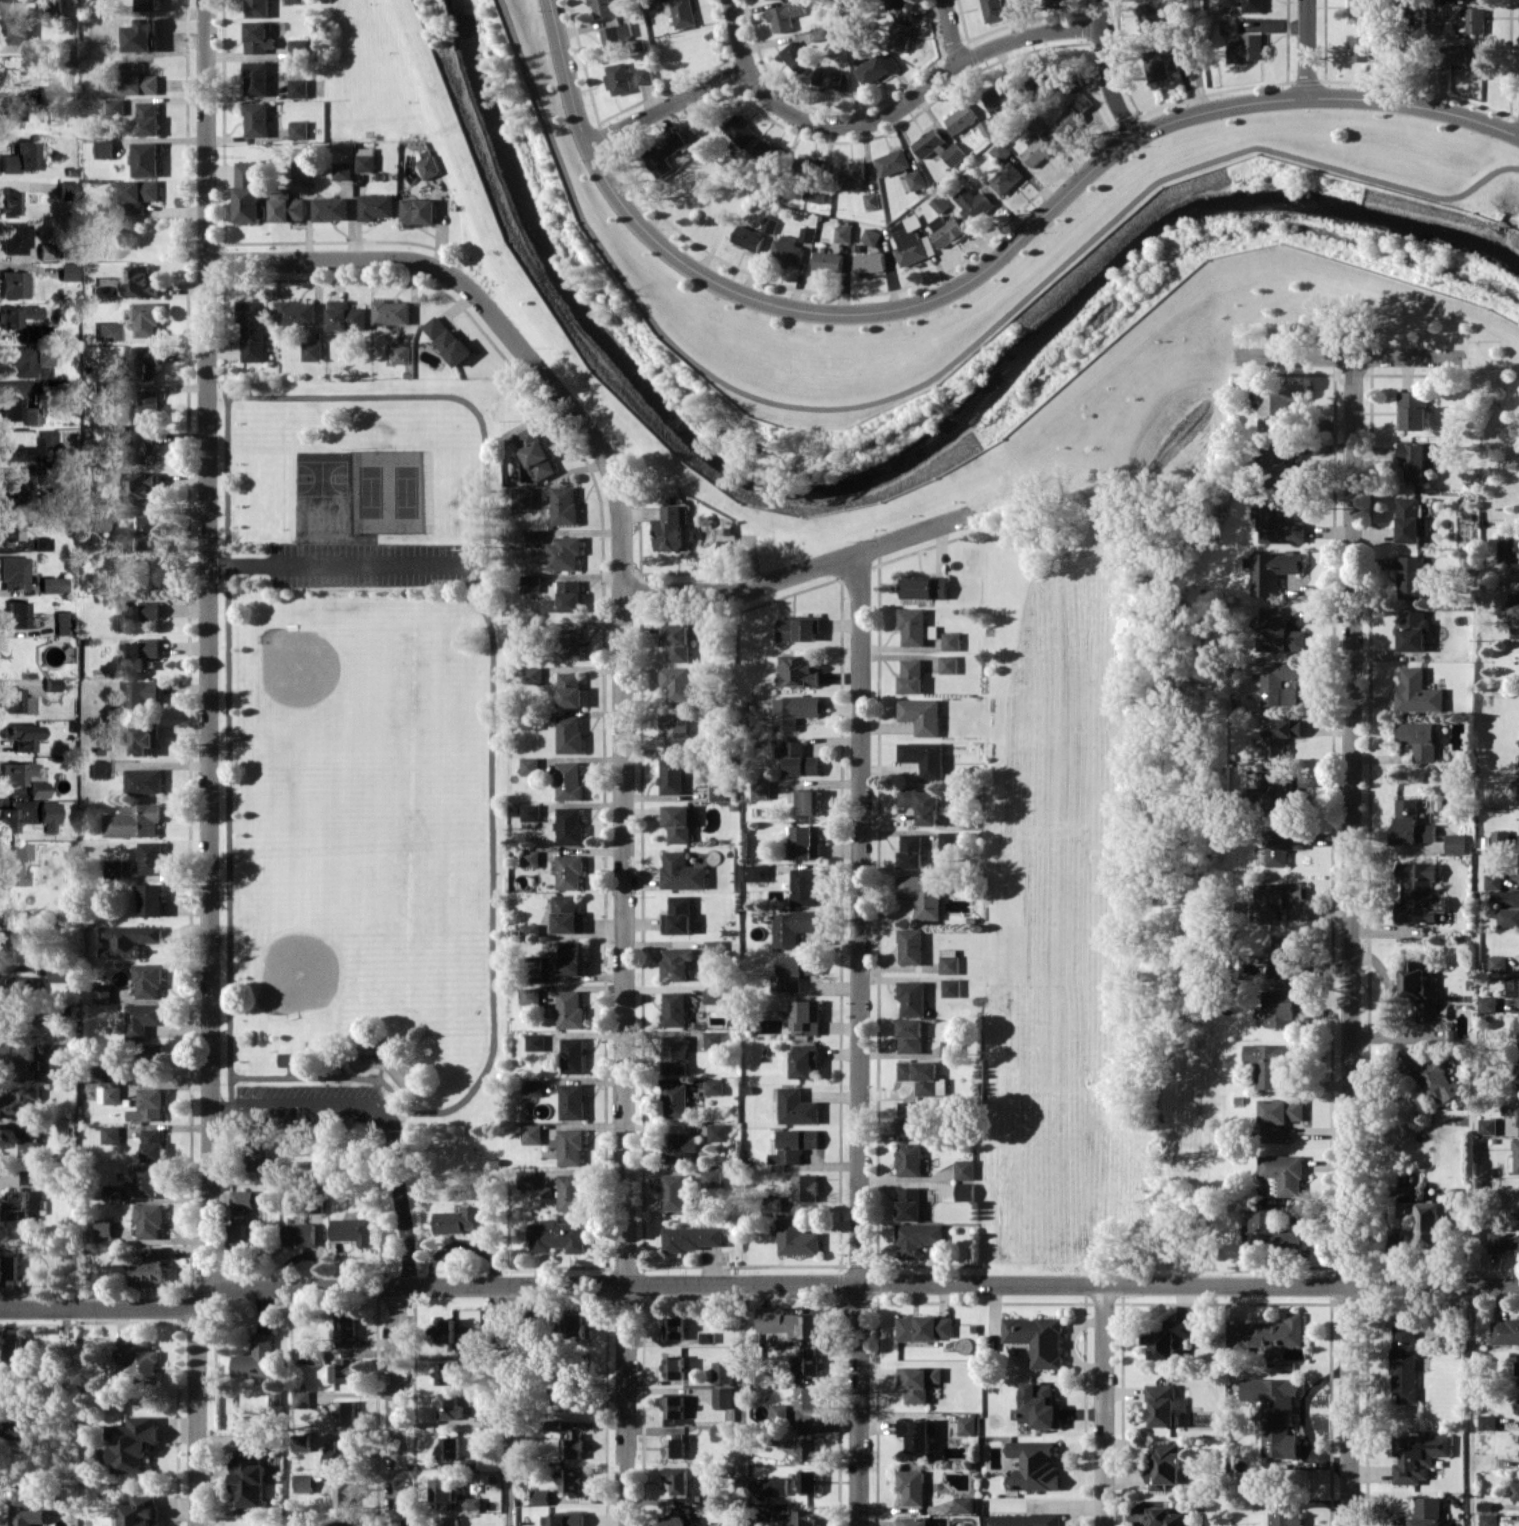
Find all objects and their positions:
building: (14, 0)
building: (1482, 0)
building: (294, 1)
building: (895, 3)
building: (1054, 3)
building: (49, 4)
building: (1245, 4)
building: (147, 5)
building: (605, 7)
building: (1015, 7)
building: (257, 8)
building: (993, 10)
building: (1361, 10)
building: (682, 12)
building: (1435, 13)
building: (786, 15)
building: (1150, 17)
building: (1472, 19)
building: (1229, 26)
building: (15, 31)
road: (950, 32)
building: (901, 33)
road: (738, 34)
building: (141, 35)
building: (257, 37)
building: (617, 38)
building: (298, 46)
building: (1245, 47)
road: (1306, 48)
building: (1360, 48)
road: (1416, 53)
road: (1195, 56)
building: (797, 57)
building: (1467, 58)
building: (1162, 61)
building: (878, 68)
road: (1106, 71)
building: (646, 75)
building: (833, 77)
building: (257, 78)
building: (620, 78)
building: (137, 79)
building: (299, 87)
building: (45, 93)
building: (1001, 96)
building: (1082, 102)
building: (115, 106)
building: (10, 114)
building: (148, 118)
building: (962, 118)
building: (256, 119)
building: (701, 121)
building: (1069, 122)
road: (840, 126)
building: (987, 127)
building: (299, 129)
building: (741, 131)
building: (940, 147)
building: (104, 149)
building: (1001, 151)
building: (1037, 151)
building: (770, 153)
building: (665, 154)
building: (19, 157)
building: (146, 159)
building: (893, 161)
building: (366, 162)
building: (429, 164)
building: (301, 166)
building: (343, 170)
building: (850, 171)
building: (814, 177)
building: (1007, 178)
building: (917, 179)
building: (66, 189)
building: (249, 191)
building: (136, 195)
building: (873, 200)
building: (9, 202)
building: (940, 203)
building: (974, 204)
building: (287, 206)
building: (377, 206)
building: (331, 208)
building: (418, 210)
building: (771, 224)
building: (947, 230)
building: (844, 233)
building: (808, 234)
building: (872, 236)
building: (13, 238)
building: (750, 238)
building: (913, 241)
building: (789, 250)
building: (829, 261)
building: (872, 261)
building: (67, 271)
road: (975, 276)
building: (141, 282)
building: (12, 284)
building: (392, 312)
building: (298, 313)
building: (16, 314)
building: (346, 315)
building: (146, 319)
building: (254, 330)
building: (106, 331)
building: (30, 332)
building: (447, 339)
building: (313, 350)
building: (402, 354)
road: (1352, 357)
building: (43, 358)
building: (20, 361)
building: (143, 362)
road: (939, 375)
road: (27, 382)
building: (149, 405)
building: (1277, 405)
building: (10, 408)
building: (1413, 410)
building: (31, 415)
building: (47, 437)
building: (18, 445)
building: (142, 445)
building: (1276, 452)
building: (536, 453)
building: (1414, 460)
road: (611, 468)
river: (897, 469)
park: (325, 472)
building: (1289, 474)
building: (16, 485)
building: (140, 486)
park: (390, 491)
building: (523, 498)
building: (564, 505)
building: (1411, 520)
building: (96, 522)
building: (1280, 523)
building: (324, 527)
building: (4, 529)
building: (671, 529)
building: (149, 533)
building: (535, 537)
building: (42, 543)
building: (726, 546)
building: (565, 553)
road: (339, 565)
parking lot: (371, 565)
building: (1273, 571)
building: (12, 573)
building: (1411, 577)
building: (52, 583)
building: (531, 583)
building: (926, 587)
building: (566, 598)
building: (1510, 609)
building: (15, 614)
building: (140, 615)
building: (62, 622)
building: (913, 626)
building: (798, 628)
building: (1413, 630)
building: (1277, 631)
building: (952, 640)
building: (676, 641)
building: (569, 644)
building: (140, 652)
building: (949, 664)
building: (799, 670)
building: (532, 675)
building: (912, 675)
building: (676, 682)
building: (1280, 682)
building: (51, 683)
building: (570, 689)
building: (1417, 692)
building: (140, 696)
building: (15, 700)
park: (350, 707)
building: (794, 711)
building: (921, 715)
building: (530, 722)
building: (675, 730)
building: (570, 734)
building: (1280, 735)
building: (20, 736)
building: (141, 736)
building: (1419, 739)
building: (924, 757)
building: (798, 758)
road: (208, 764)
park: (362, 766)
building: (529, 766)
building: (98, 768)
building: (14, 772)
building: (671, 775)
building: (569, 780)
building: (143, 781)
building: (37, 789)
building: (720, 789)
building: (761, 789)
building: (1279, 793)
building: (808, 801)
building: (922, 804)
building: (530, 812)
building: (49, 815)
building: (8, 819)
building: (133, 820)
building: (680, 821)
building: (1411, 823)
building: (570, 825)
building: (1500, 838)
building: (948, 839)
building: (806, 841)
building: (1455, 843)
building: (1282, 845)
building: (19, 851)
building: (911, 851)
building: (150, 857)
building: (530, 858)
building: (112, 868)
building: (569, 871)
building: (682, 871)
building: (756, 872)
building: (12, 874)
building: (1493, 881)
building: (805, 887)
building: (1419, 892)
building: (923, 894)
building: (150, 899)
building: (1276, 899)
building: (567, 914)
building: (678, 915)
building: (1508, 917)
park: (353, 926)
building: (793, 926)
building: (529, 929)
building: (127, 940)
road: (1350, 942)
building: (911, 946)
building: (714, 949)
building: (572, 957)
building: (1285, 958)
building: (949, 961)
building: (1497, 962)
building: (676, 963)
building: (796, 970)
building: (60, 973)
building: (148, 980)
building: (15, 986)
building: (951, 987)
building: (1512, 987)
building: (1419, 988)
building: (102, 992)
building: (713, 994)
building: (531, 995)
building: (912, 997)
building: (1487, 1004)
building: (1283, 1008)
building: (674, 1009)
building: (570, 1010)
building: (806, 1017)
building: (142, 1019)
building: (10, 1026)
building: (1516, 1026)
building: (910, 1035)
building: (714, 1039)
road: (858, 1040)
building: (535, 1041)
building: (1518, 1047)
building: (949, 1048)
building: (675, 1053)
building: (573, 1055)
building: (290, 1058)
road: (625, 1058)
building: (19, 1060)
building: (151, 1060)
building: (805, 1060)
building: (1271, 1062)
building: (99, 1071)
building: (1518, 1074)
building: (1429, 1077)
road: (181, 1081)
building: (714, 1086)
building: (532, 1087)
building: (108, 1094)
building: (675, 1100)
building: (572, 1101)
building: (18, 1103)
parking lot: (308, 1104)
building: (148, 1106)
building: (797, 1107)
building: (1511, 1110)
road: (385, 1113)
building: (1277, 1117)
building: (908, 1118)
building: (1487, 1126)
building: (718, 1132)
building: (532, 1133)
building: (110, 1134)
building: (152, 1144)
building: (796, 1144)
building: (680, 1146)
building: (570, 1147)
building: (28, 1148)
building: (259, 1155)
building: (1516, 1155)
building: (909, 1159)
building: (965, 1169)
building: (1282, 1174)
building: (32, 1177)
building: (712, 1177)
building: (527, 1179)
building: (146, 1181)
building: (805, 1187)
building: (673, 1191)
building: (965, 1191)
building: (113, 1192)
building: (571, 1192)
building: (242, 1198)
building: (908, 1203)
building: (149, 1220)
building: (460, 1220)
building: (1424, 1220)
building: (104, 1227)
building: (240, 1228)
building: (354, 1230)
building: (1270, 1231)
building: (300, 1234)
building: (557, 1236)
building: (693, 1237)
building: (796, 1238)
building: (917, 1238)
building: (1502, 1242)
building: (147, 1267)
road: (780, 1283)
road: (1433, 1284)
road: (100, 1307)
building: (787, 1323)
building: (573, 1325)
building: (674, 1327)
building: (924, 1327)
building: (346, 1329)
building: (445, 1330)
building: (1504, 1331)
building: (1267, 1334)
building: (706, 1336)
building: (1169, 1337)
building: (1037, 1339)
building: (14, 1350)
building: (138, 1356)
building: (311, 1356)
building: (467, 1357)
building: (256, 1358)
building: (1405, 1363)
building: (807, 1365)
building: (674, 1366)
building: (344, 1370)
building: (445, 1372)
building: (722, 1372)
building: (1516, 1372)
building: (918, 1381)
building: (557, 1395)
building: (722, 1397)
building: (301, 1399)
building: (809, 1399)
building: (1161, 1404)
building: (450, 1405)
road: (510, 1405)
road: (741, 1405)
building: (1039, 1405)
road: (1470, 1405)
road: (398, 1406)
building: (675, 1406)
road: (1104, 1406)
building: (346, 1411)
building: (778, 1411)
building: (1276, 1413)
building: (967, 1425)
building: (14, 1427)
building: (720, 1433)
building: (916, 1434)
building: (301, 1442)
building: (133, 1443)
building: (675, 1445)
building: (573, 1446)
building: (448, 1447)
building: (802, 1447)
building: (340, 1451)
building: (1418, 1456)
building: (1033, 1466)
building: (1166, 1466)
building: (249, 1478)
building: (806, 1480)
building: (573, 1481)
building: (304, 1482)
building: (681, 1485)
building: (776, 1486)
building: (911, 1486)
building: (445, 1489)
building: (1515, 1491)
building: (345, 1494)
building: (29, 1497)
building: (541, 1497)
building: (473, 1503)
building: (963, 1504)
building: (140, 1511)
building: (1426, 1511)
building: (29, 1516)
building: (680, 1517)
building: (1165, 1517)
building: (567, 1518)
building: (799, 1518)
building: (1284, 1518)
building: (1024, 1519)
building: (1488, 1519)
building: (912, 1521)
building: (450, 1522)
building: (346, 1523)

